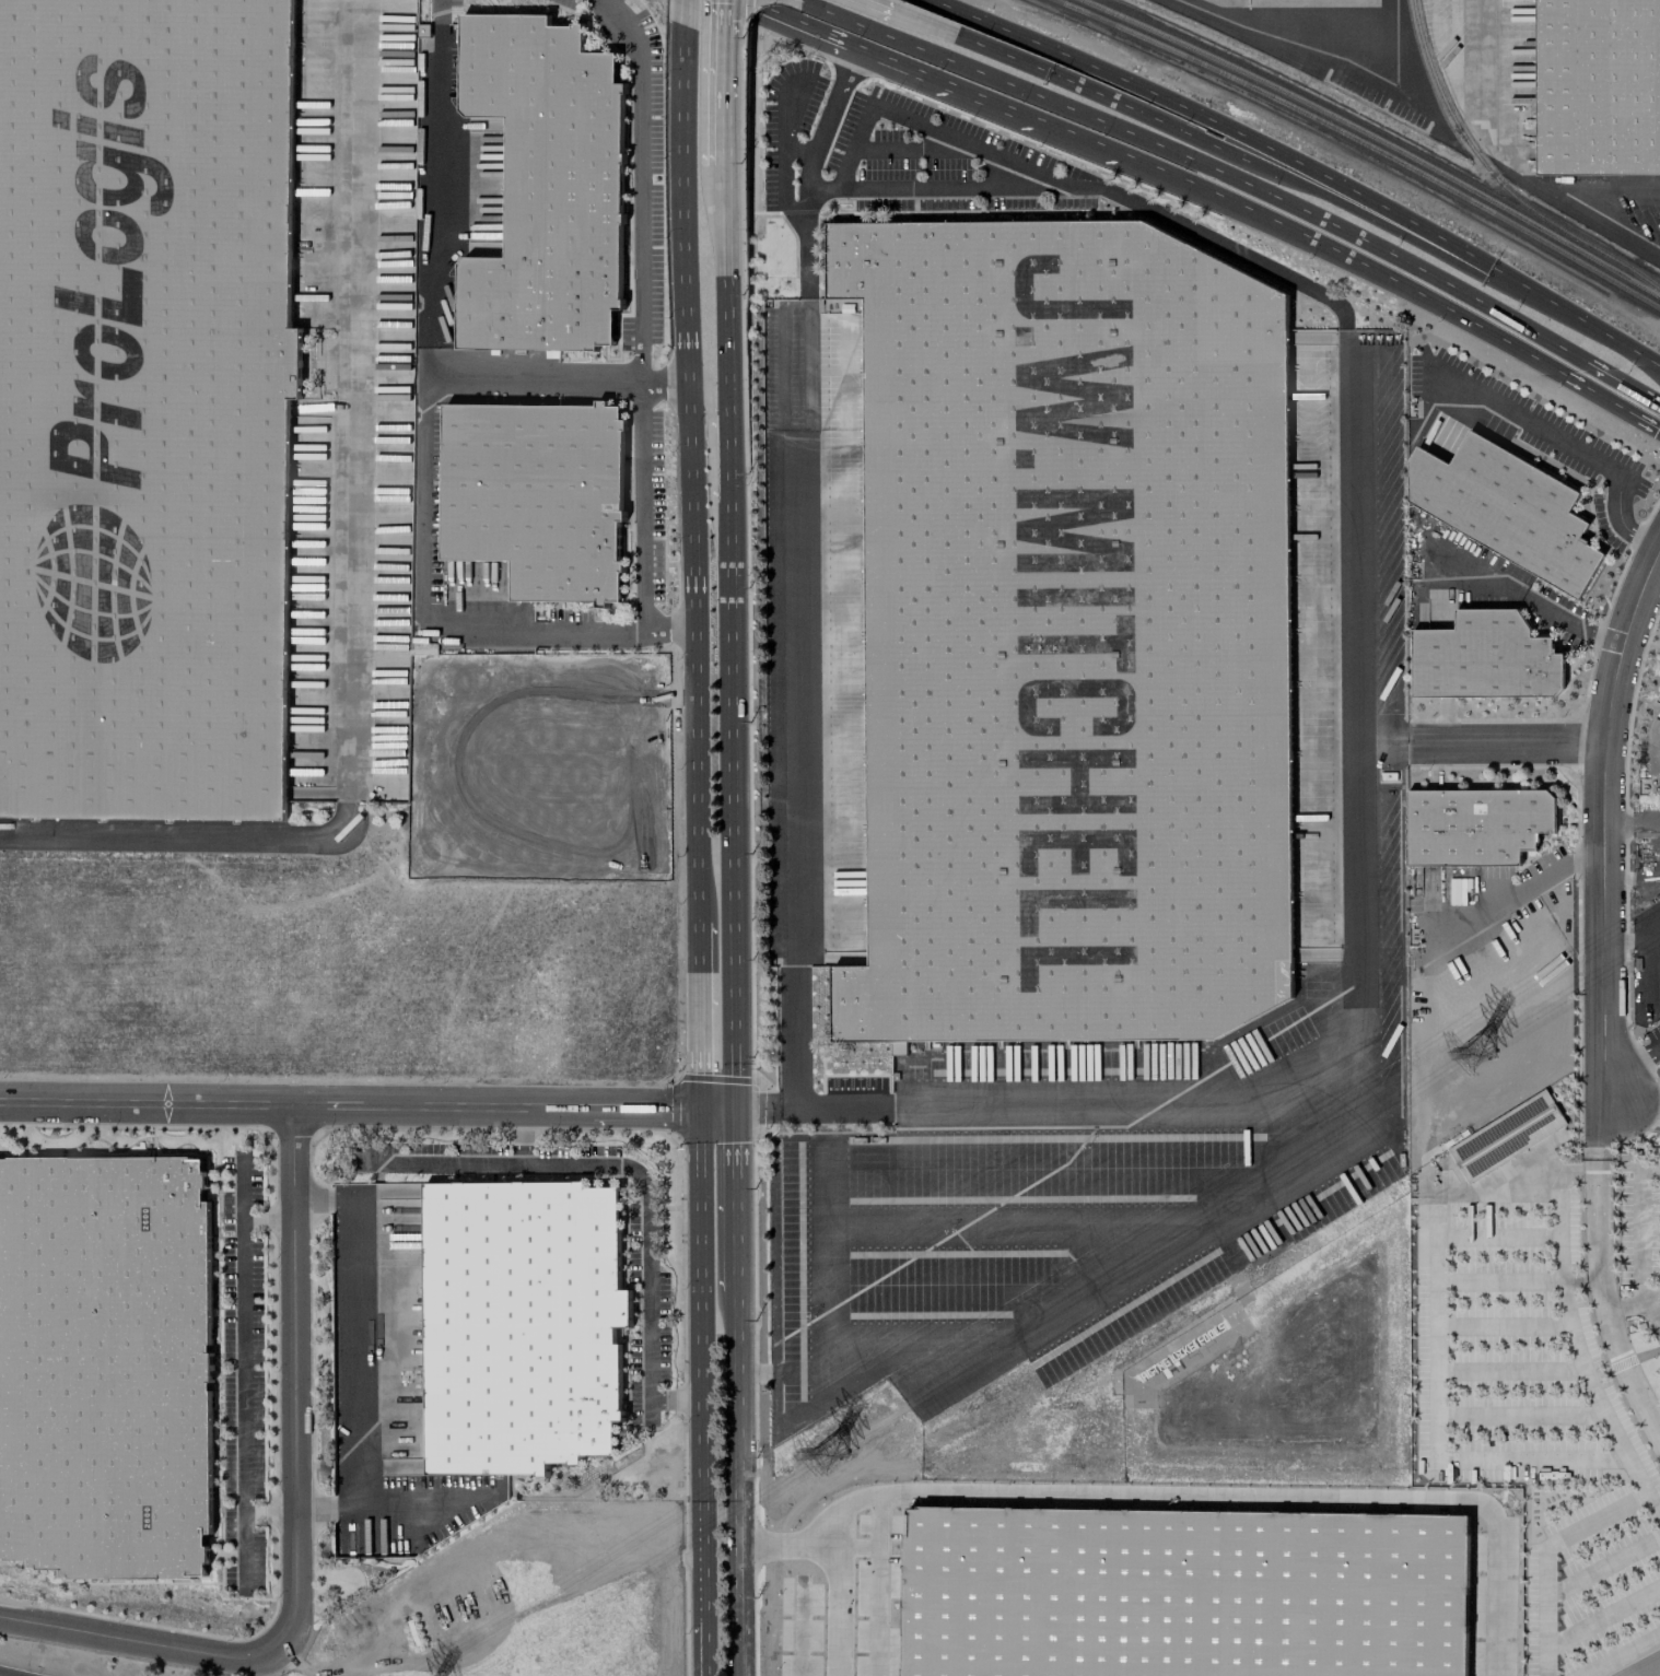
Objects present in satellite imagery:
road: (692, 8)
road: (901, 11)
road: (730, 12)
road: (804, 22)
road: (866, 23)
road: (1291, 32)
road: (993, 47)
building: (1597, 87)
road: (729, 96)
road: (1237, 132)
railway: (1376, 138)
railway: (1364, 143)
road: (1126, 155)
road: (781, 164)
road: (1509, 165)
road: (809, 166)
road: (1065, 173)
railway: (1495, 178)
road: (1296, 179)
road: (728, 183)
building: (546, 186)
road: (966, 186)
road: (1300, 209)
road: (638, 288)
road: (728, 308)
road: (1598, 329)
road: (1528, 345)
road: (663, 382)
road: (353, 401)
building: (147, 410)
road: (425, 438)
road: (729, 446)
road: (1571, 447)
road: (688, 477)
building: (537, 495)
road: (641, 505)
building: (1508, 511)
road: (1530, 597)
building: (1068, 637)
building: (1485, 658)
building: (1659, 699)
road: (1505, 742)
road: (730, 789)
road: (1630, 820)
road: (1601, 822)
building: (1475, 825)
road: (185, 840)
road: (1511, 898)
road: (1630, 935)
road: (701, 1022)
building: (898, 1047)
power tower: (1473, 1047)
road: (1634, 1064)
road: (709, 1078)
road: (351, 1105)
road: (786, 1106)
road: (716, 1107)
traffic signals: (732, 1107)
road: (753, 1107)
traffic signals: (702, 1109)
road: (1073, 1111)
road: (521, 1125)
road: (434, 1163)
road: (828, 1184)
road: (732, 1196)
road: (314, 1198)
road: (268, 1219)
road: (646, 1220)
road: (943, 1228)
road: (1639, 1228)
road: (1495, 1235)
road: (1595, 1256)
road: (1579, 1281)
road: (1497, 1282)
road: (1062, 1302)
road: (1633, 1304)
road: (1655, 1309)
building: (521, 1325)
road: (1501, 1326)
road: (1571, 1338)
road: (354, 1352)
road: (1648, 1353)
road: (1435, 1362)
road: (1623, 1364)
building: (105, 1366)
road: (1509, 1370)
road: (242, 1371)
road: (751, 1371)
road: (1599, 1374)
road: (297, 1378)
road: (703, 1380)
road: (682, 1398)
road: (1519, 1415)
parking lot: (1540, 1418)
power tower: (828, 1450)
road: (733, 1480)
road: (1272, 1496)
road: (424, 1497)
road: (317, 1509)
road: (271, 1511)
road: (446, 1514)
road: (810, 1533)
road: (1546, 1556)
road: (1603, 1564)
road: (878, 1585)
road: (838, 1596)
road: (1603, 1616)
road: (144, 1643)
road: (771, 1655)
road: (1623, 1656)
road: (705, 1664)
road: (13, 1672)

